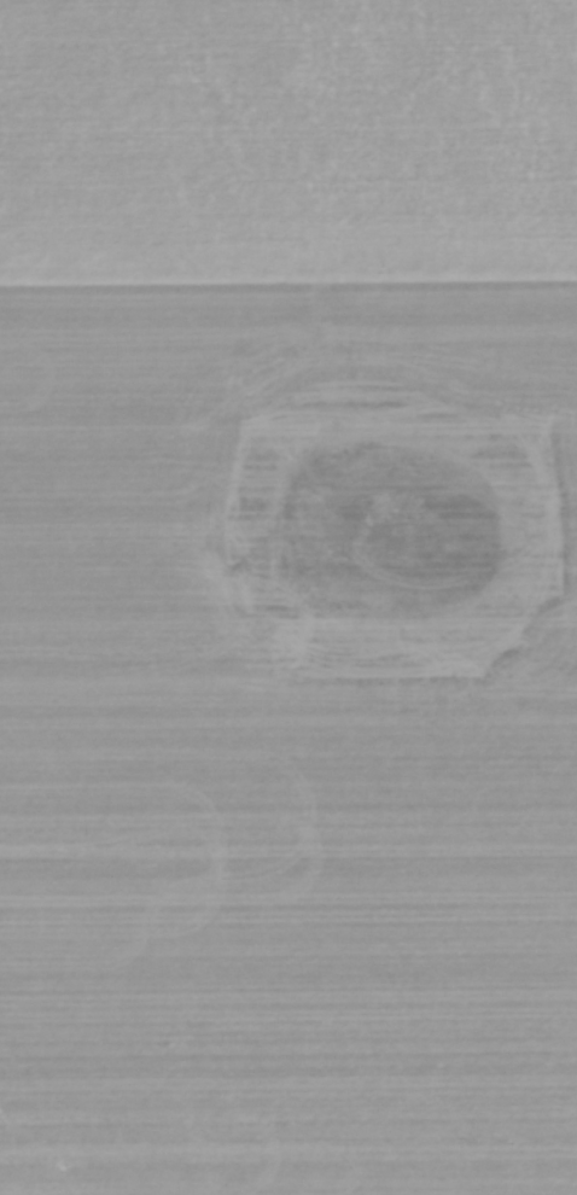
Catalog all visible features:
crop: (288, 597)

